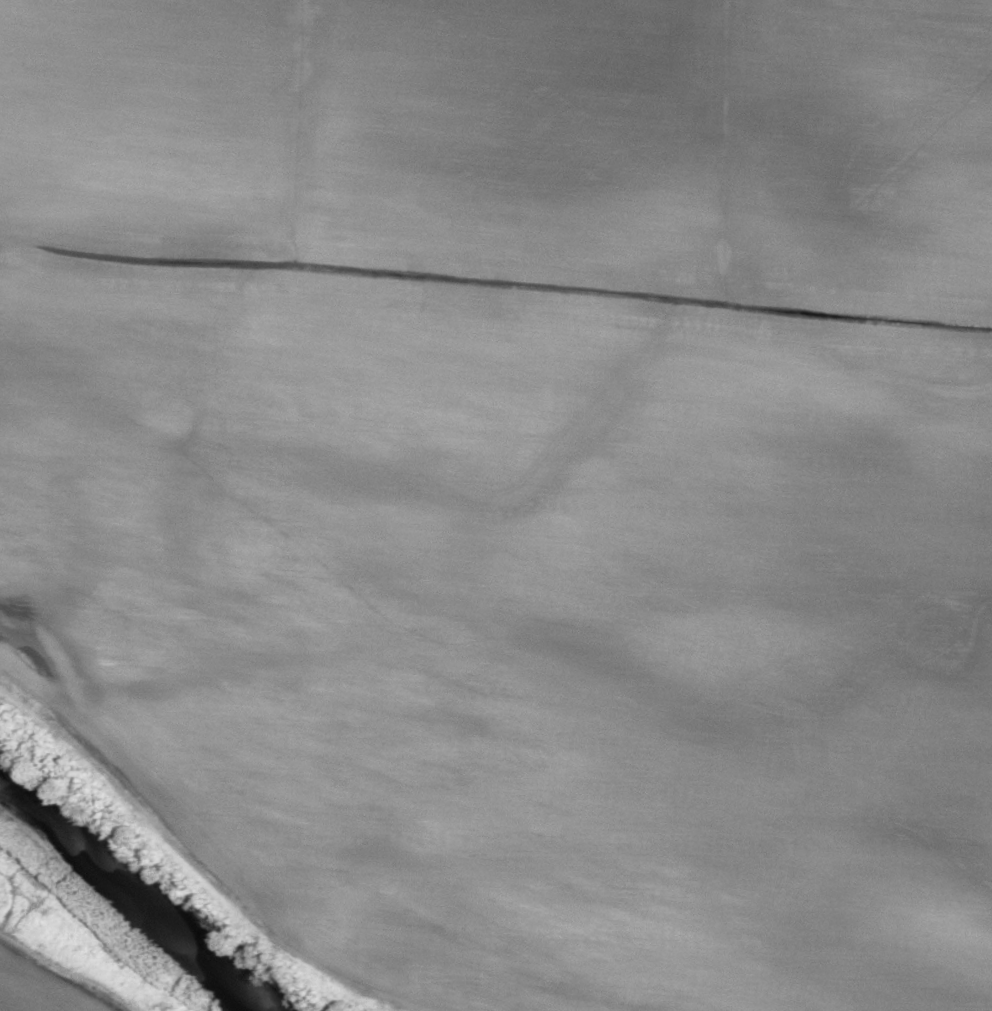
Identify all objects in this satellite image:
river: (138, 884)

